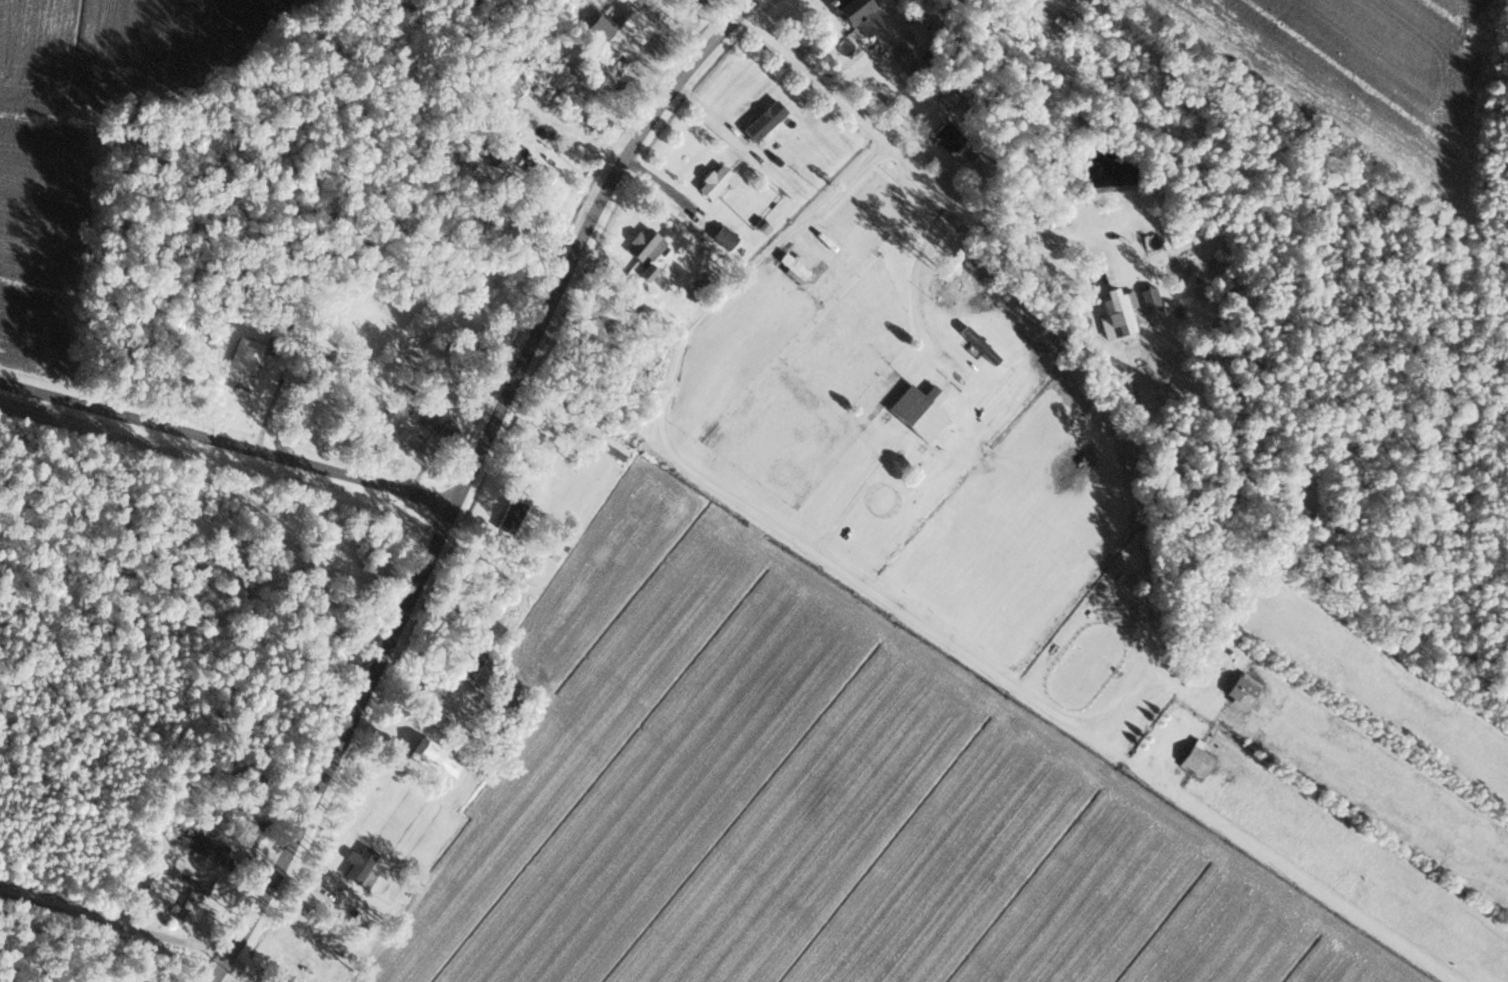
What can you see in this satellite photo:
building: (613, 5)
building: (858, 16)
building: (617, 41)
building: (510, 85)
road: (853, 113)
building: (763, 121)
building: (949, 137)
building: (541, 179)
building: (714, 182)
road: (1037, 229)
building: (724, 237)
building: (645, 245)
building: (793, 263)
road: (916, 285)
building: (1149, 297)
building: (1079, 304)
building: (1118, 312)
building: (245, 355)
building: (918, 411)
building: (436, 425)
road: (226, 443)
road: (463, 479)
road: (759, 514)
building: (484, 676)
building: (1242, 692)
building: (434, 760)
building: (360, 860)
building: (187, 895)
building: (320, 910)
road: (112, 922)

